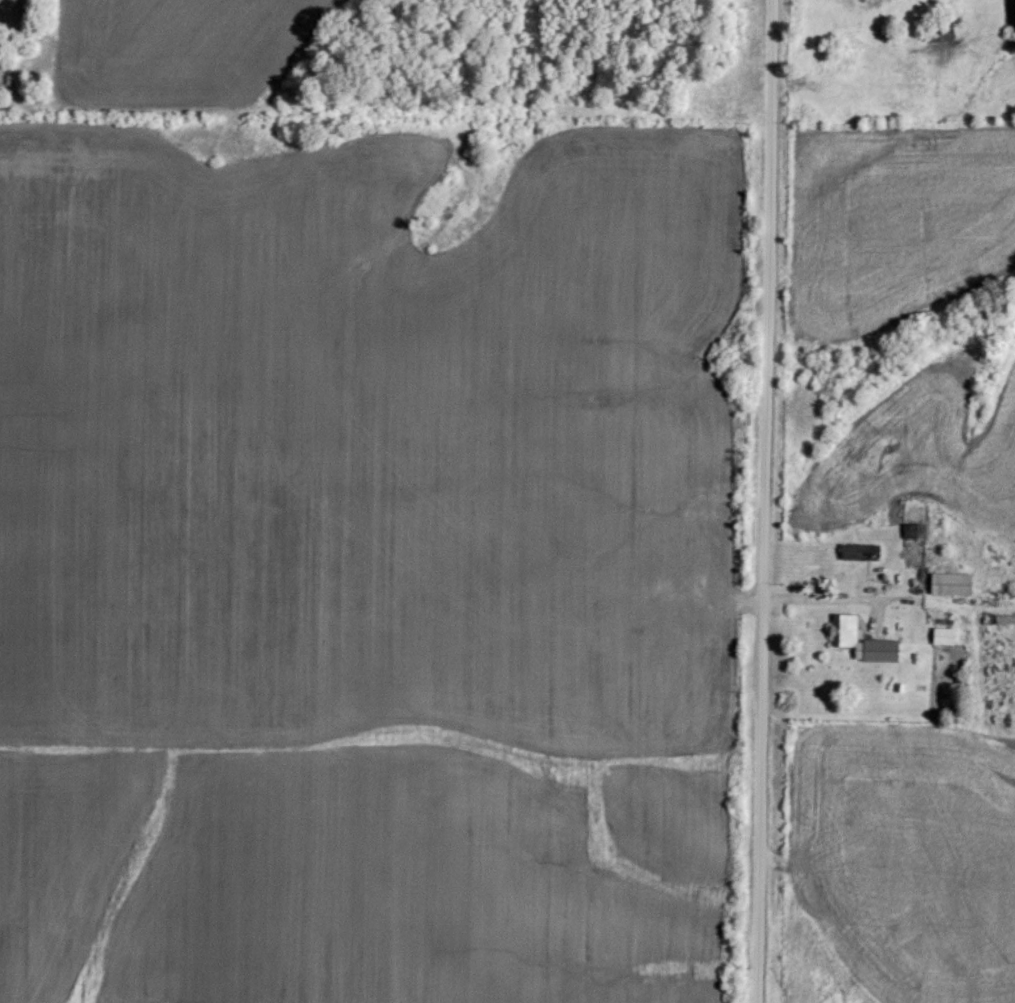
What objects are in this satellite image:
road: (764, 501)
building: (953, 583)
building: (945, 635)
building: (865, 641)

